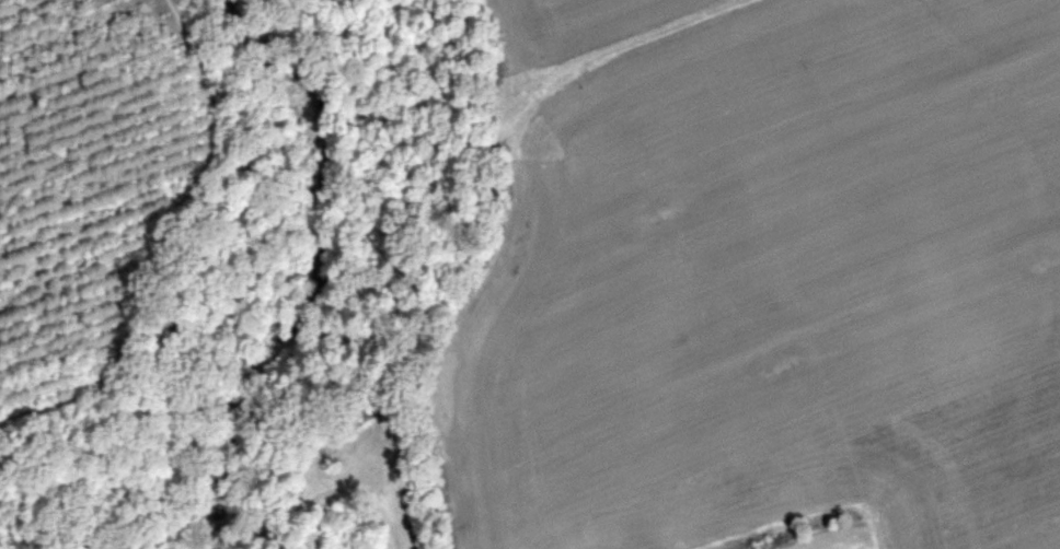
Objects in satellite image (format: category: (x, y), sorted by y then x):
road: (176, 253)
park: (165, 274)
road: (89, 459)

